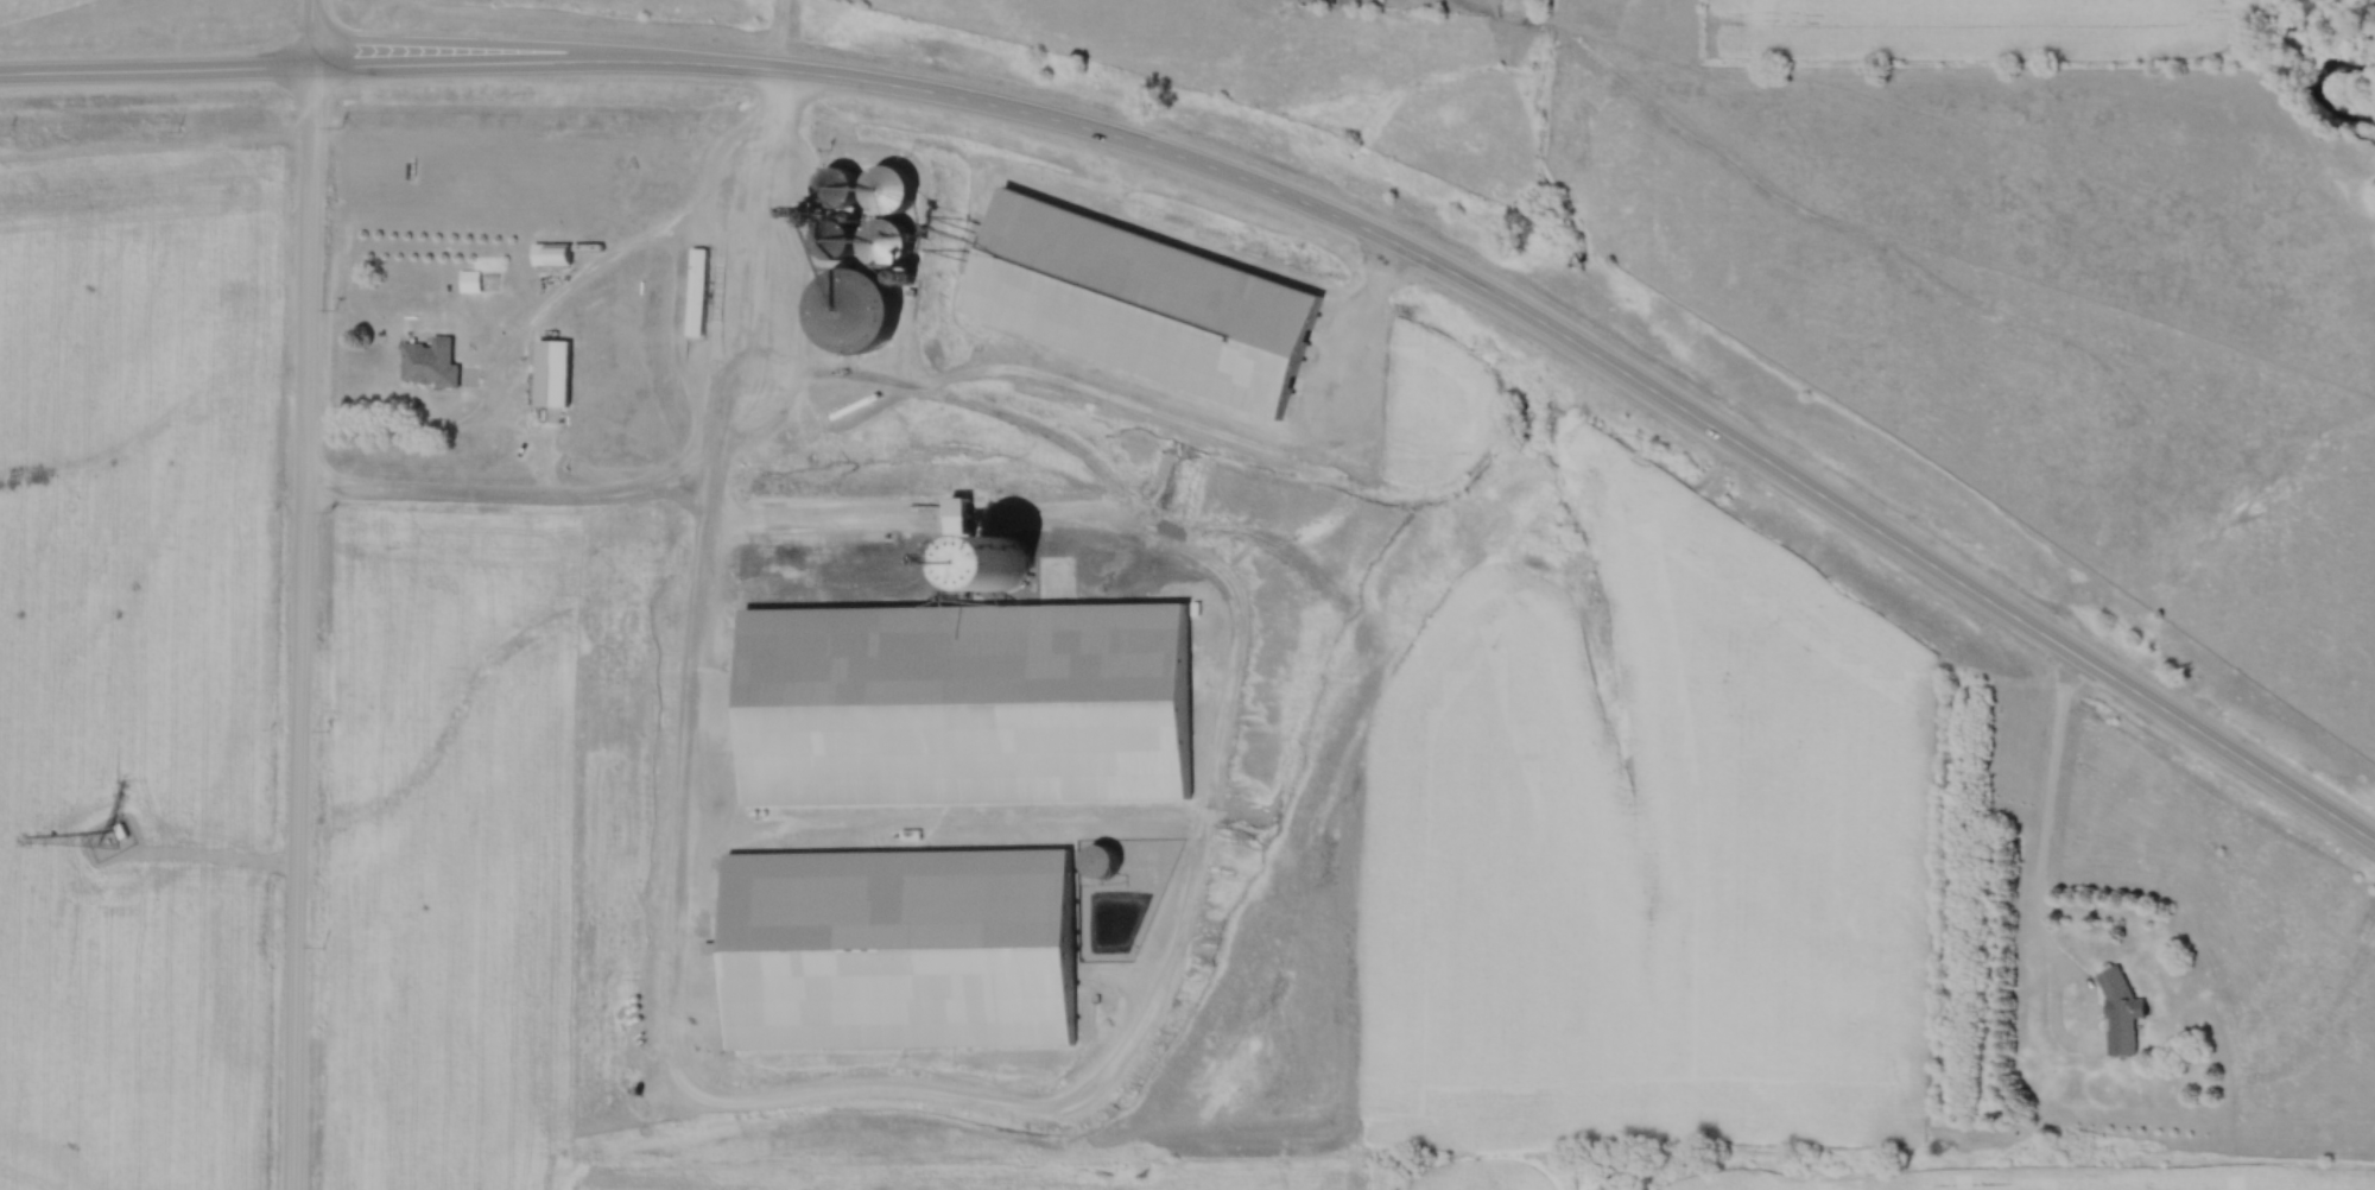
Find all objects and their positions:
road: (310, 32)
river: (2329, 83)
building: (857, 190)
road: (1269, 194)
building: (549, 255)
building: (467, 283)
building: (842, 283)
building: (693, 293)
building: (1152, 298)
road: (1357, 330)
building: (425, 363)
building: (549, 374)
road: (439, 433)
road: (691, 456)
road: (303, 627)
building: (977, 694)
road: (2046, 819)
road: (218, 854)
crop: (1607, 856)
building: (905, 942)
building: (2116, 1013)
road: (2090, 1025)

